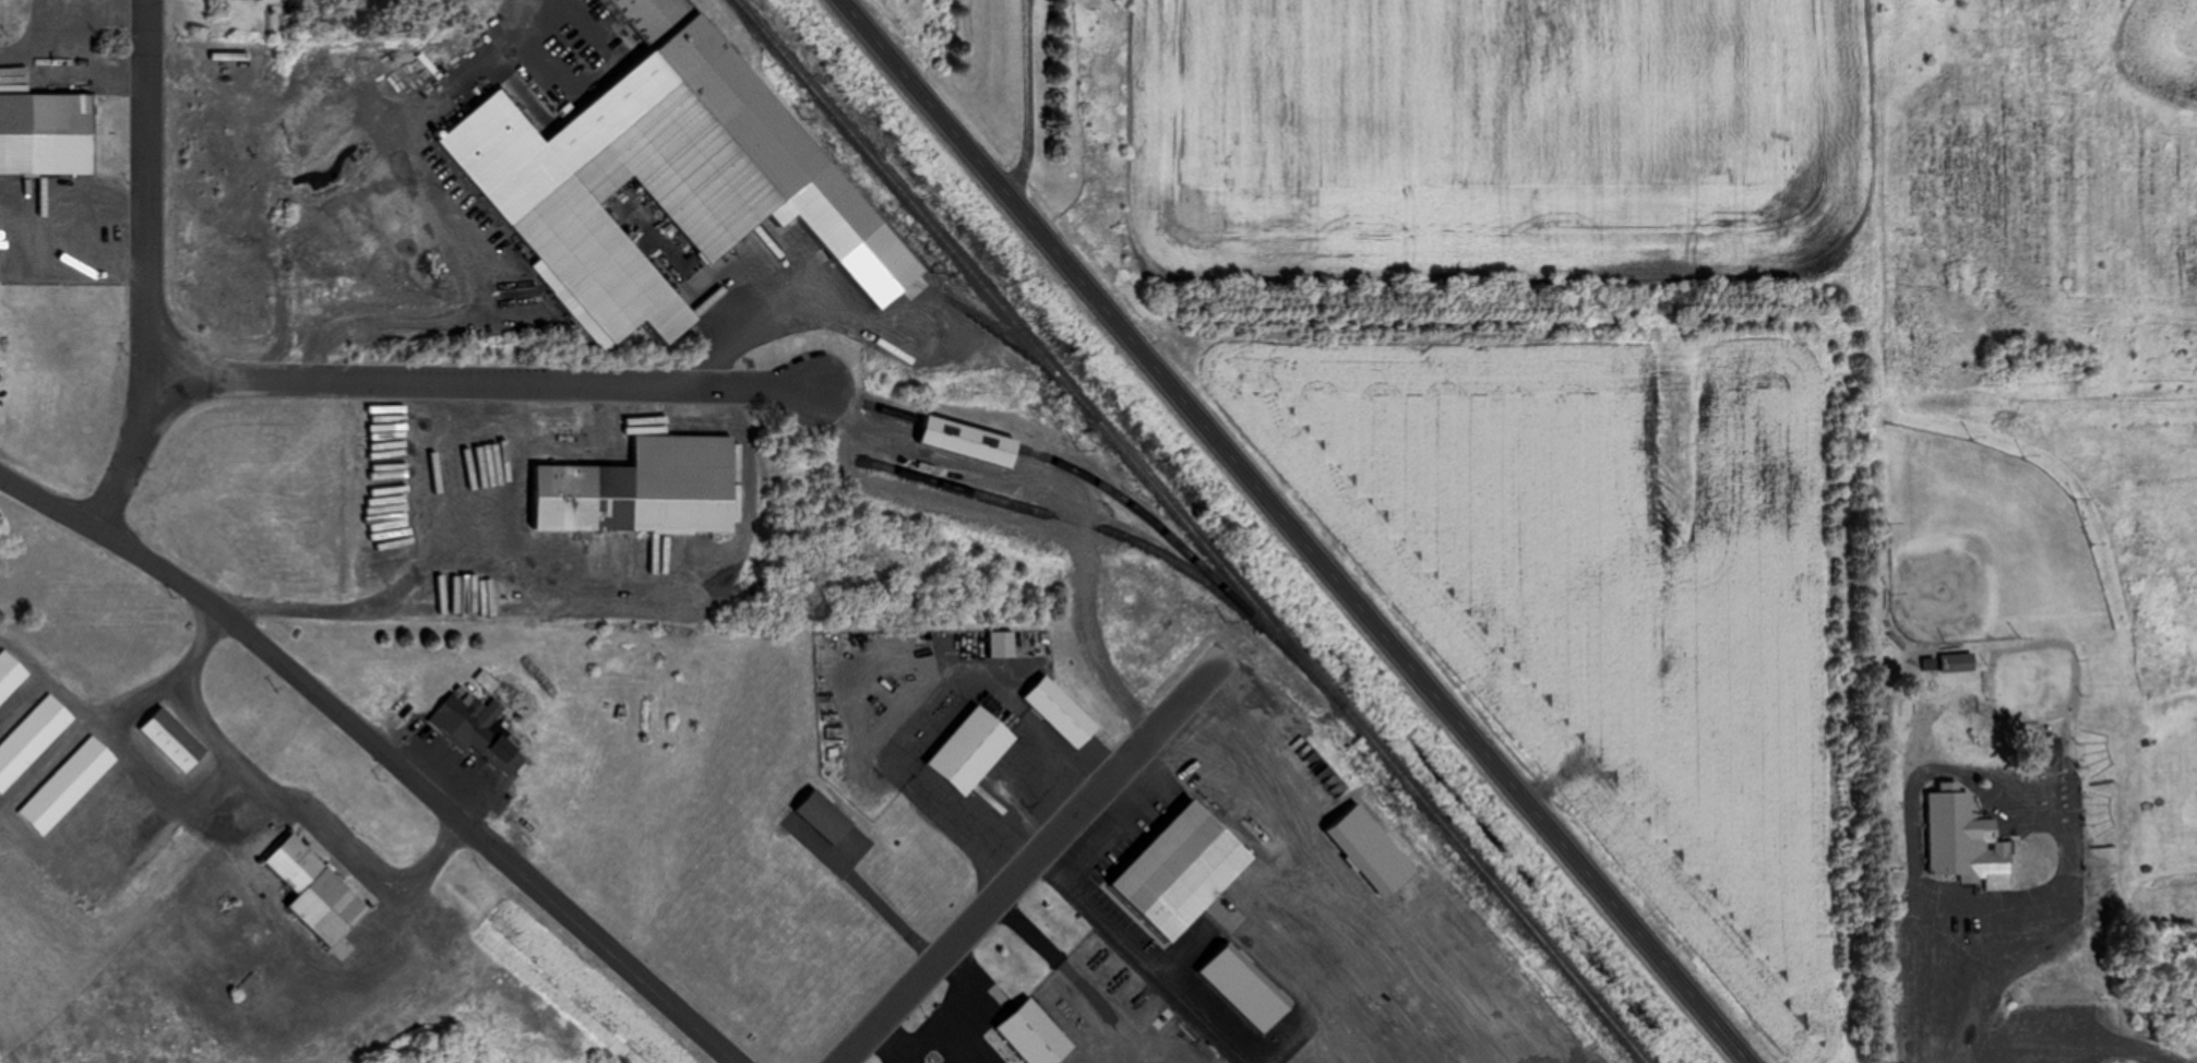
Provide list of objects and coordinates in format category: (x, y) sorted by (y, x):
building: (645, 14)
building: (276, 17)
road: (1027, 100)
building: (50, 129)
building: (684, 180)
road: (145, 192)
road: (481, 385)
building: (972, 441)
road: (122, 458)
building: (644, 489)
road: (1064, 489)
railway: (1187, 531)
road: (1291, 531)
building: (1002, 644)
building: (1958, 661)
building: (10, 674)
road: (315, 701)
building: (479, 730)
building: (32, 739)
building: (174, 739)
building: (972, 750)
road: (278, 801)
road: (1141, 809)
building: (825, 816)
building: (1951, 831)
building: (1373, 851)
road: (1037, 858)
road: (1309, 869)
building: (1184, 871)
building: (318, 892)
road: (2019, 929)
road: (1139, 959)
building: (1508, 980)
road: (669, 1008)
building: (1036, 1035)
road: (1339, 1037)
road: (2065, 1044)

